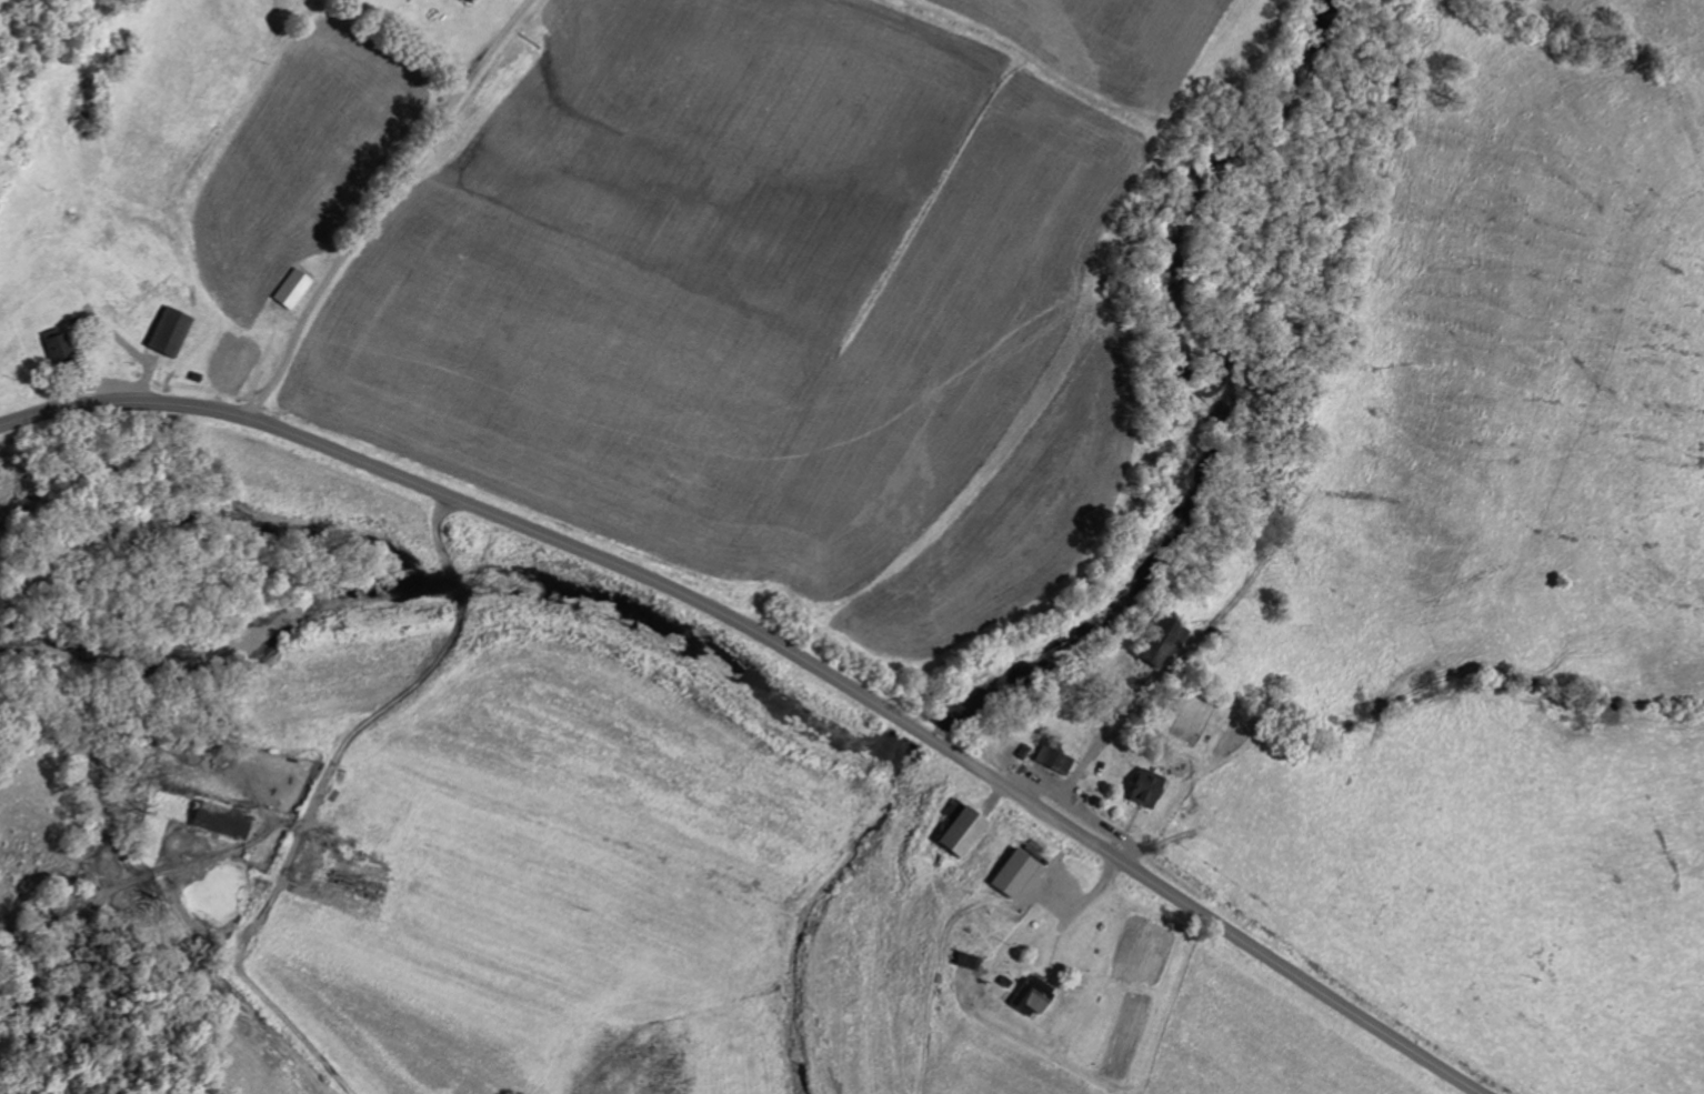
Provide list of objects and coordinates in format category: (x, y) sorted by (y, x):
building: (465, 1)
road: (382, 205)
building: (289, 289)
building: (166, 332)
building: (54, 347)
road: (471, 586)
building: (1159, 642)
road: (780, 648)
road: (390, 703)
building: (1054, 762)
road: (1076, 769)
building: (1142, 787)
building: (954, 832)
building: (1008, 874)
road: (1002, 903)
building: (1028, 995)

